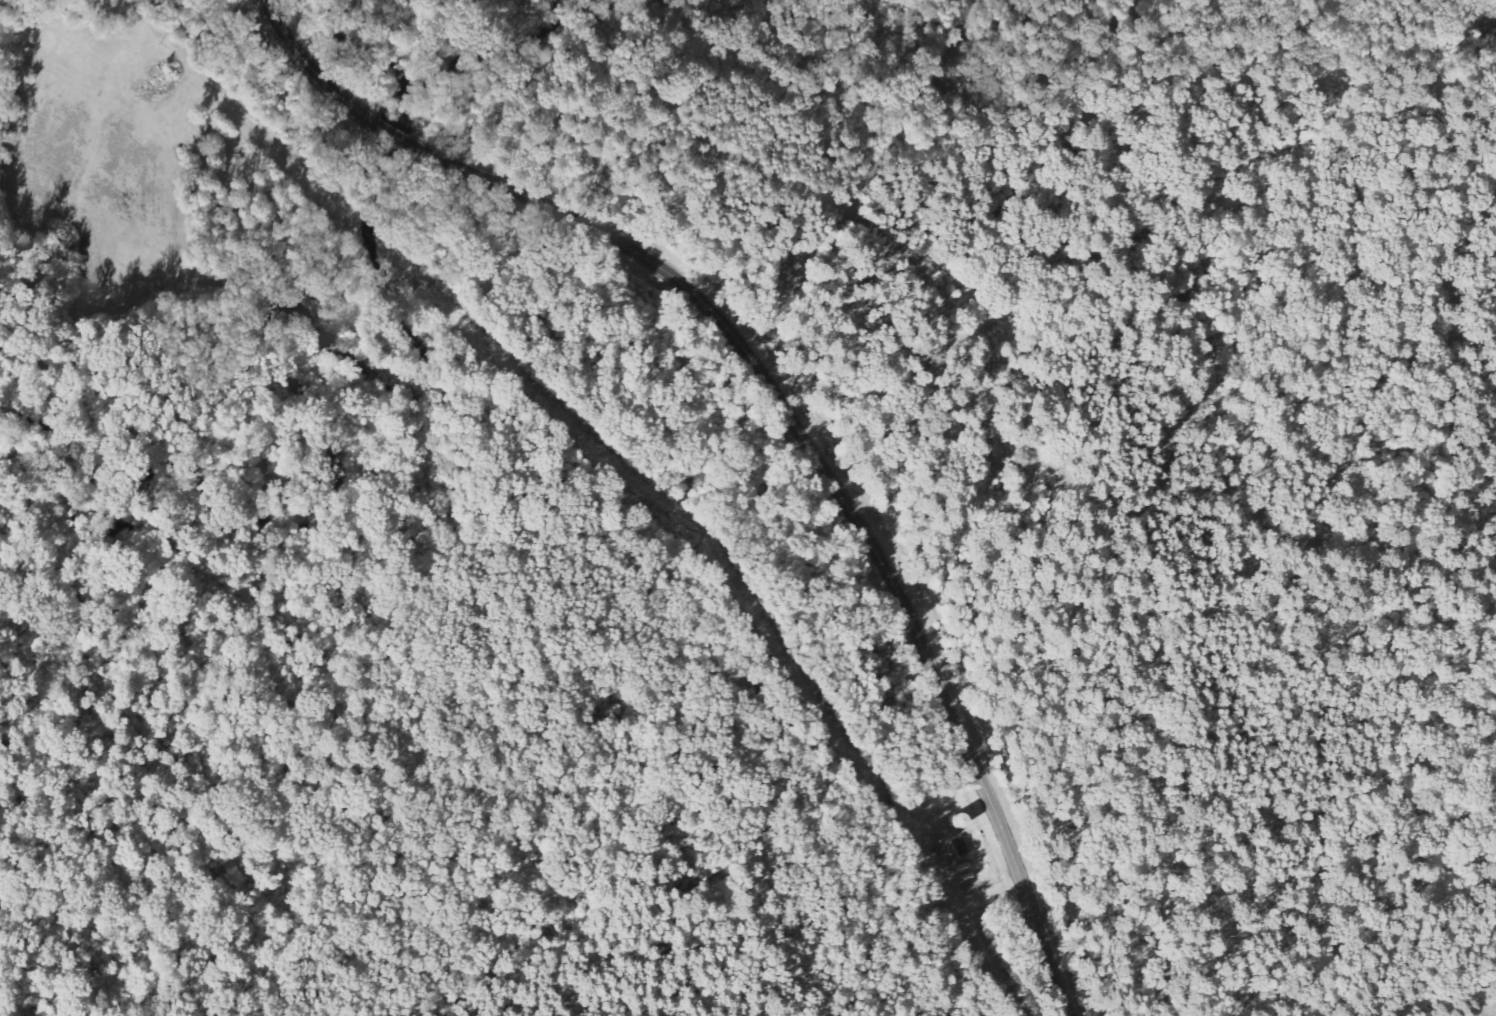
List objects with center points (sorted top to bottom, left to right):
road: (792, 403)

